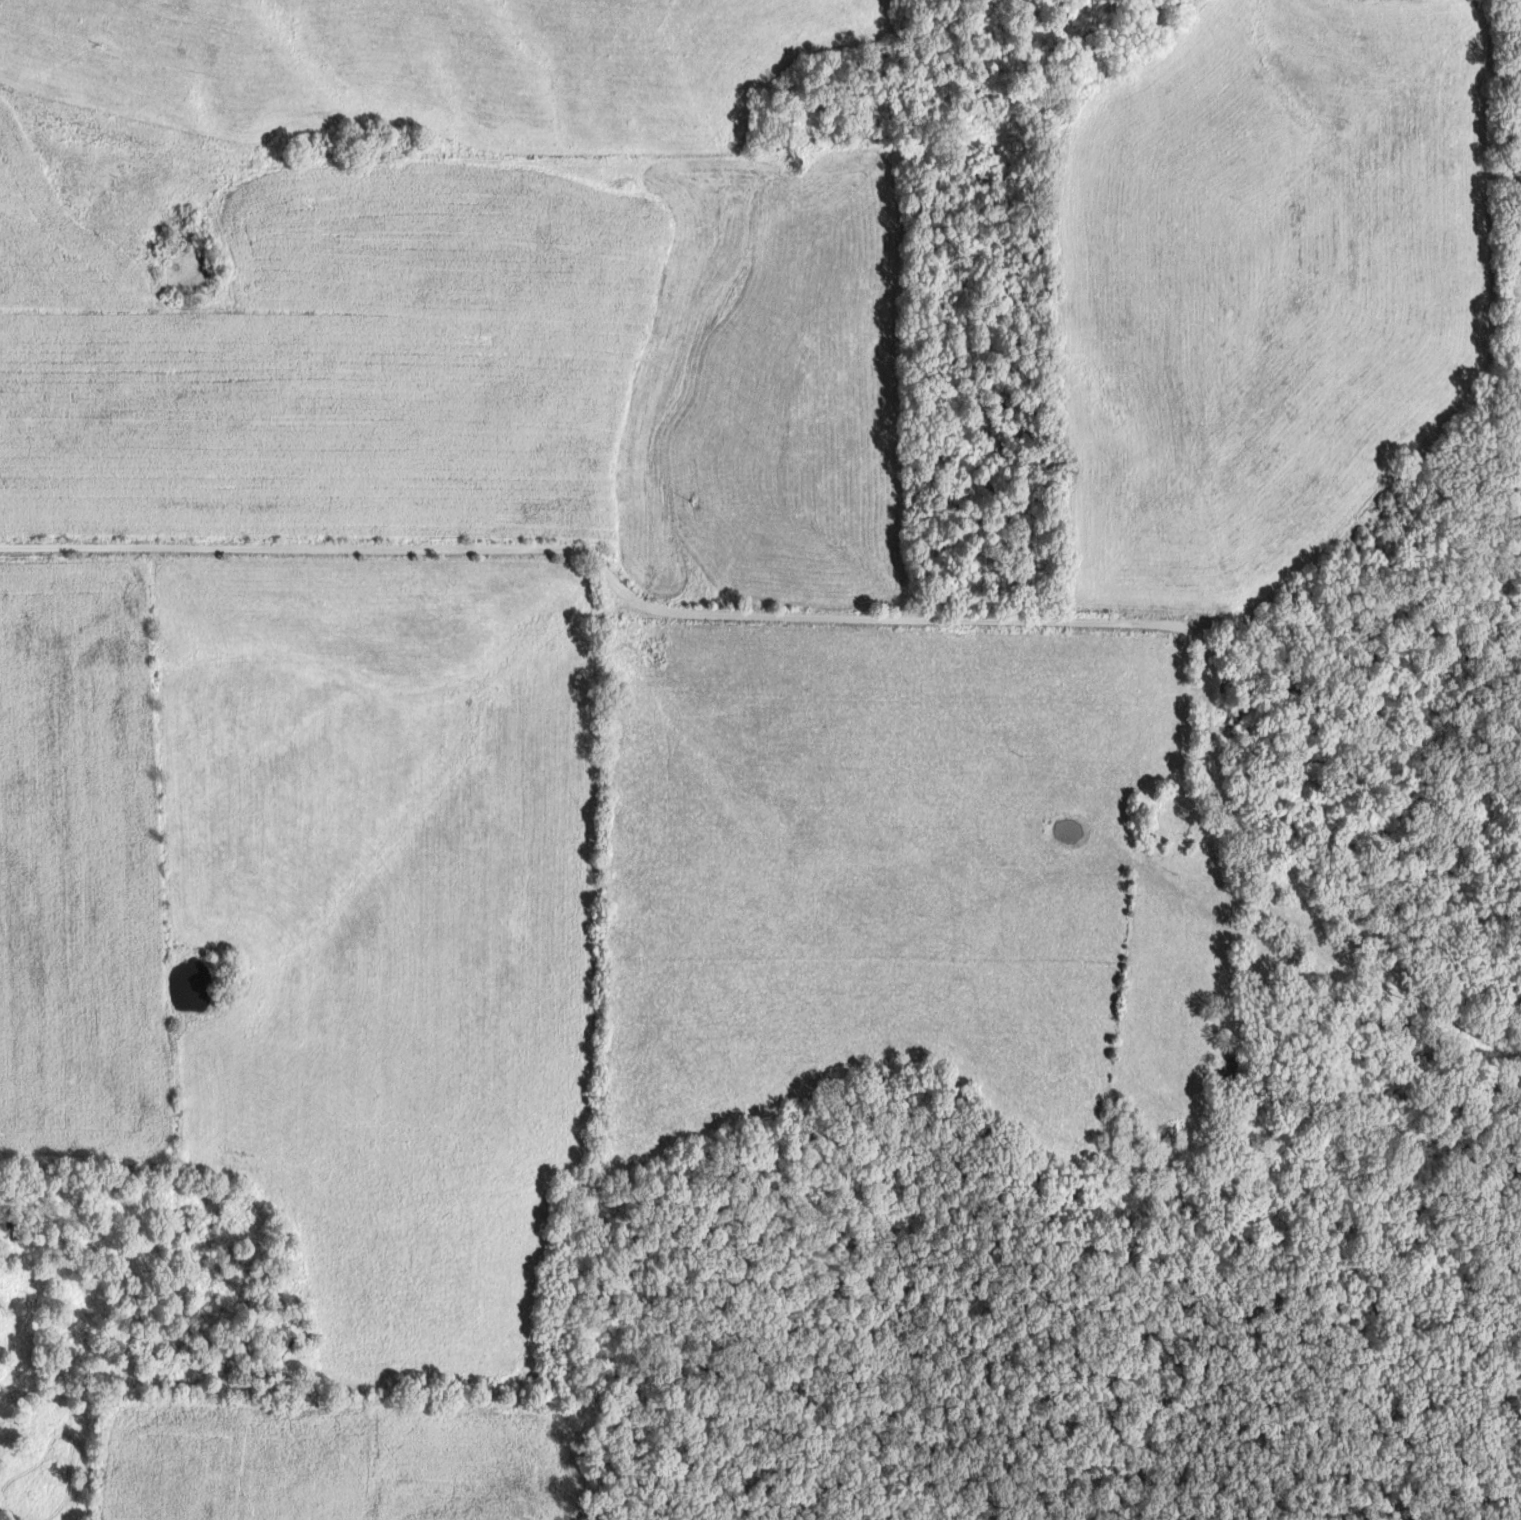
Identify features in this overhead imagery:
road: (98, 450)
road: (57, 479)
road: (689, 605)

